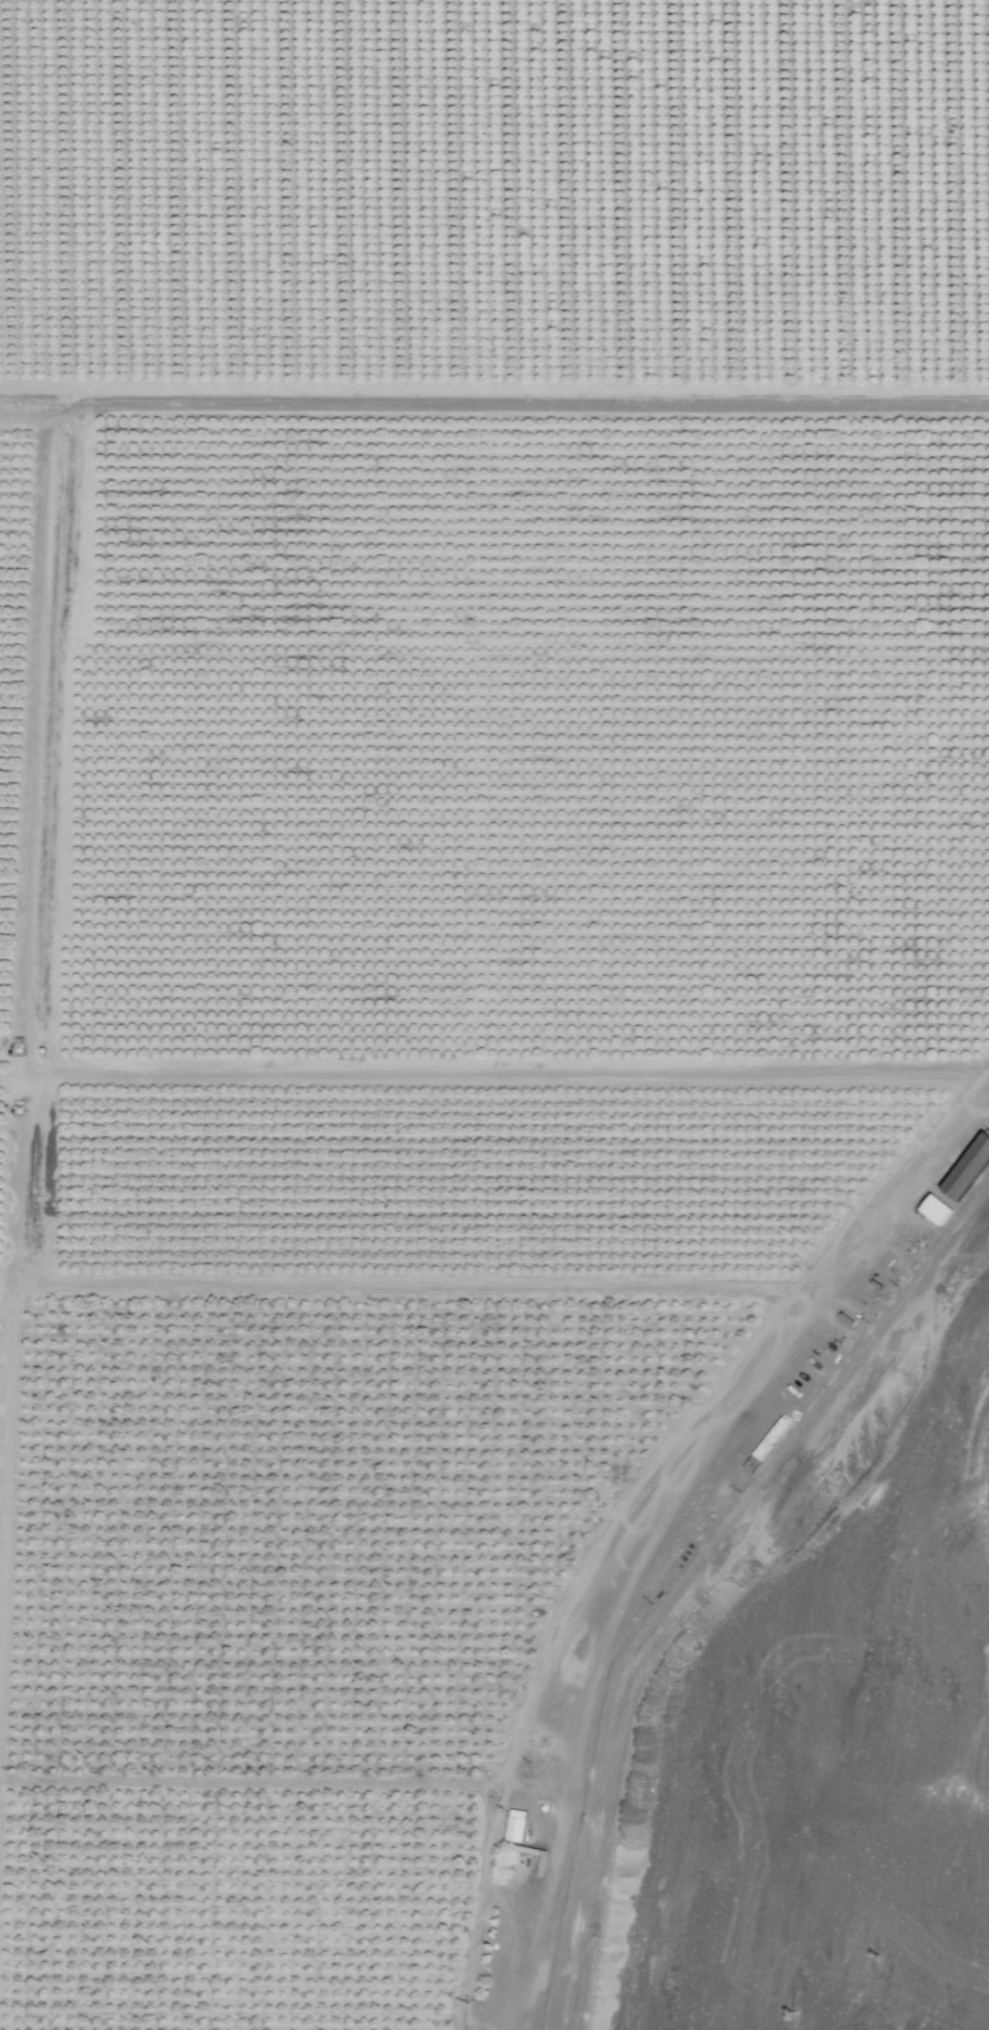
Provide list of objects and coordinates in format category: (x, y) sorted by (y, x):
building: (969, 1170)
quarry: (813, 1717)
building: (516, 1825)

